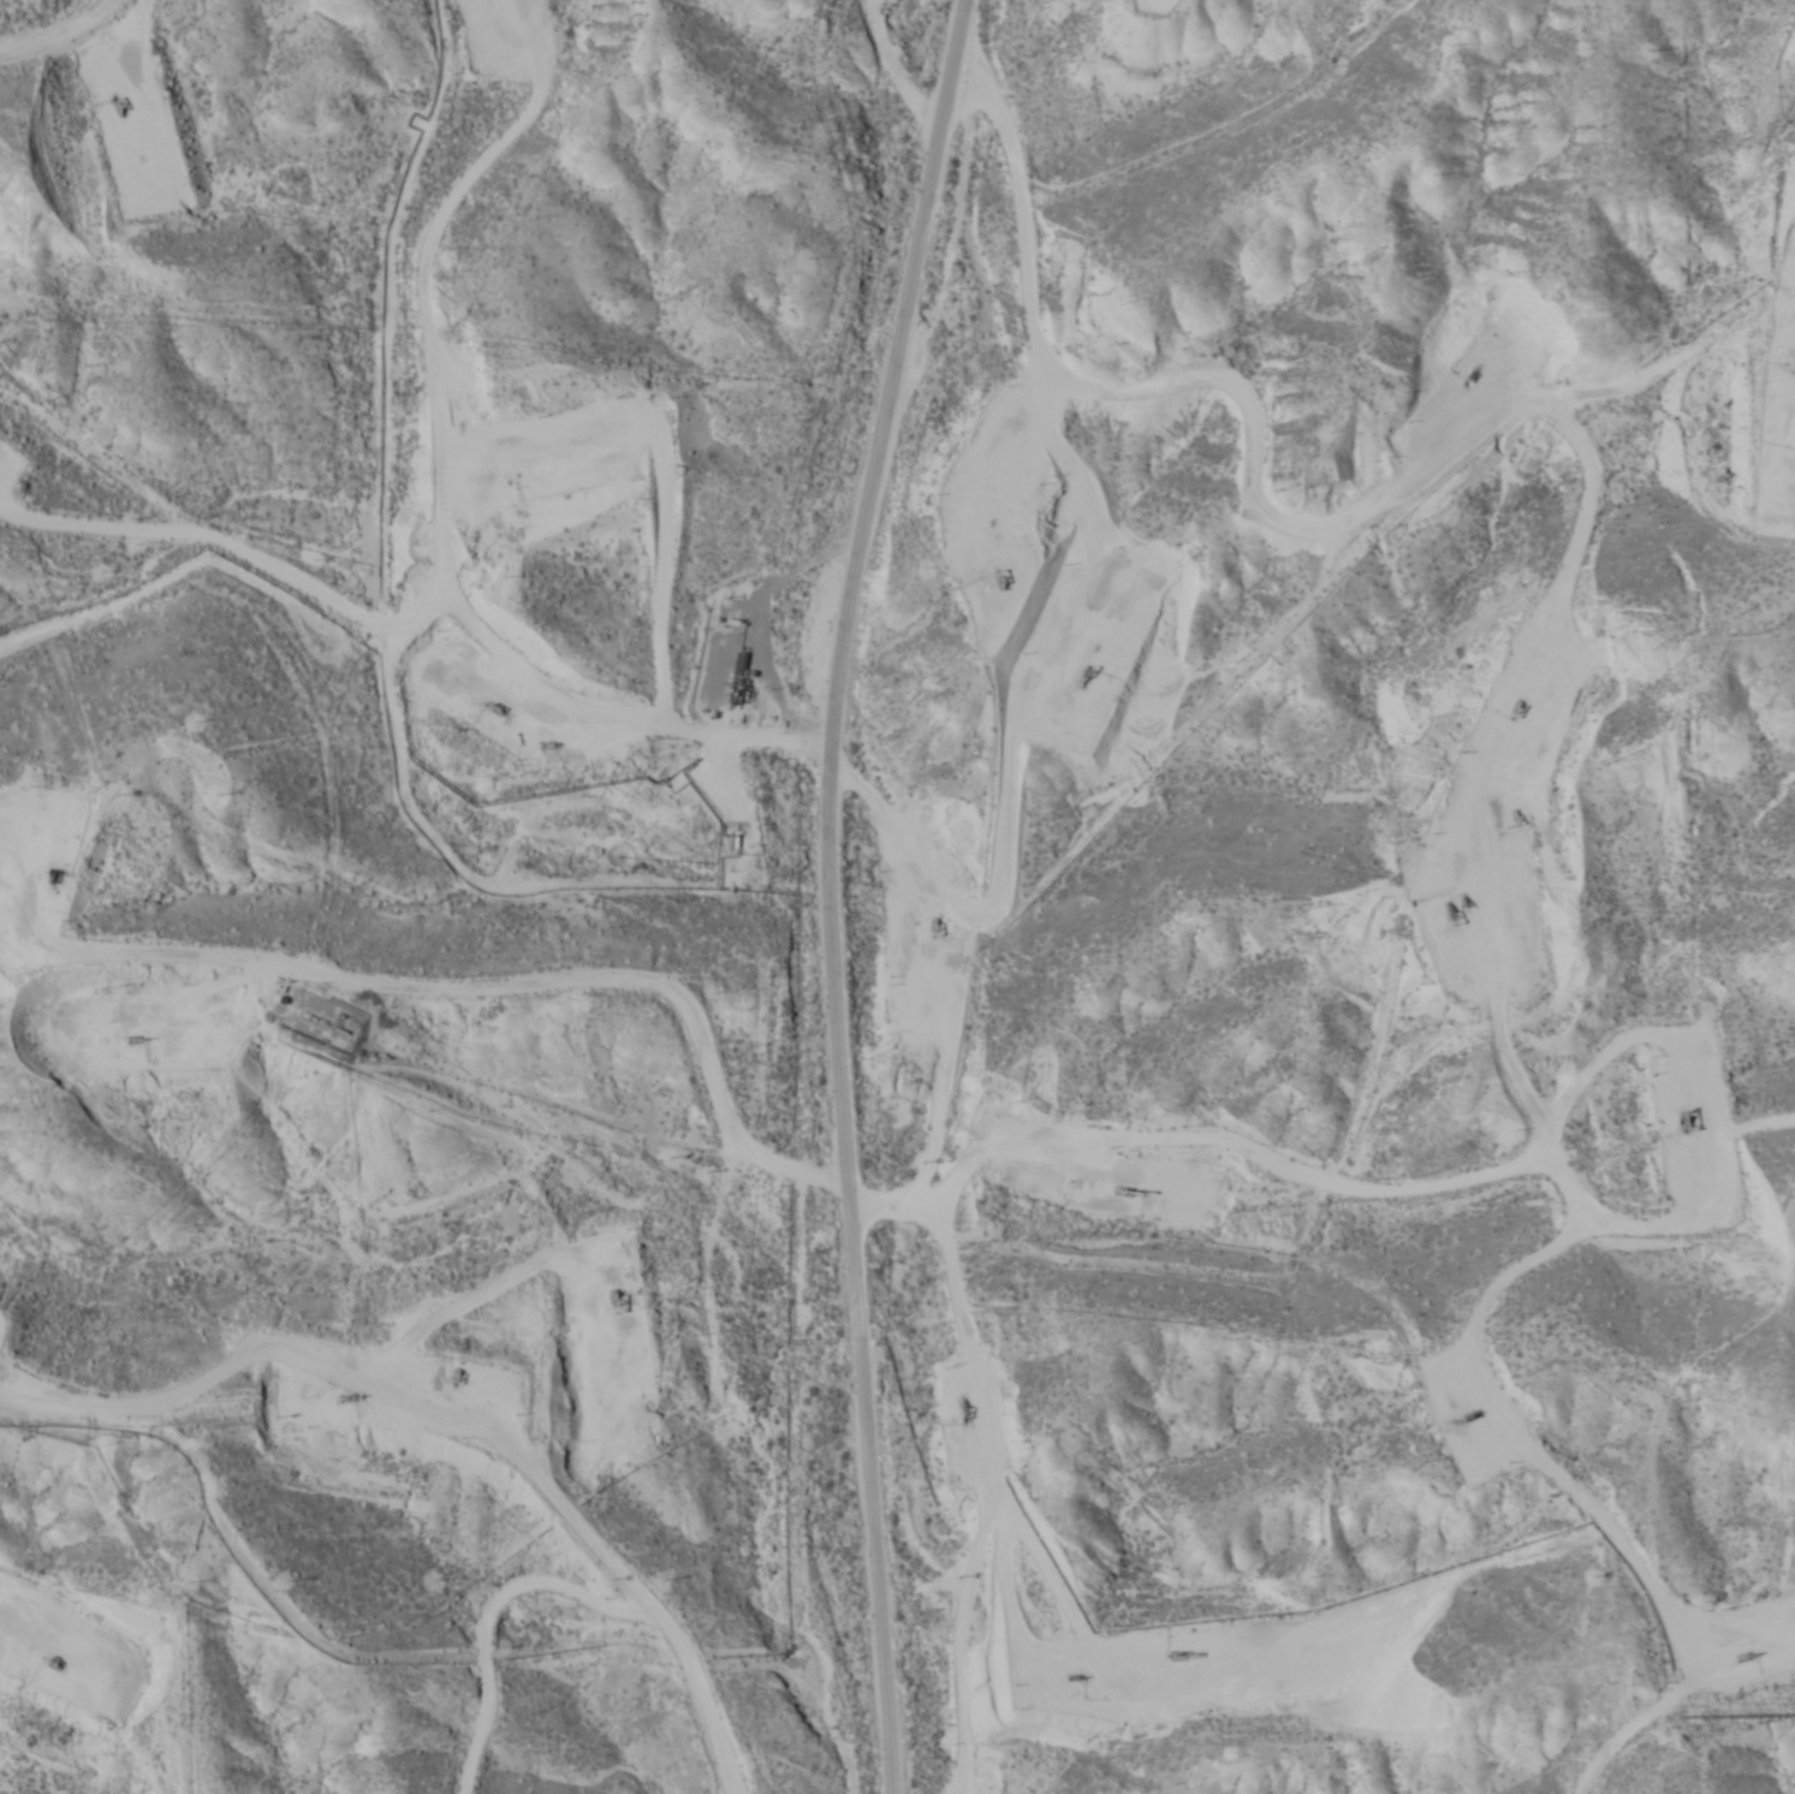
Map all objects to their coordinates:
road: (1310, 465)
road: (460, 509)
road: (234, 554)
petroleum well: (1003, 578)
petroleum well: (1081, 681)
road: (79, 814)
road: (828, 891)
road: (479, 969)
petroleum well: (1128, 1190)
petroleum well: (613, 1299)
road: (477, 1402)
petroleum well: (964, 1407)
petroleum well: (1181, 1655)
petroleum well: (1076, 1676)
road: (1670, 1687)

